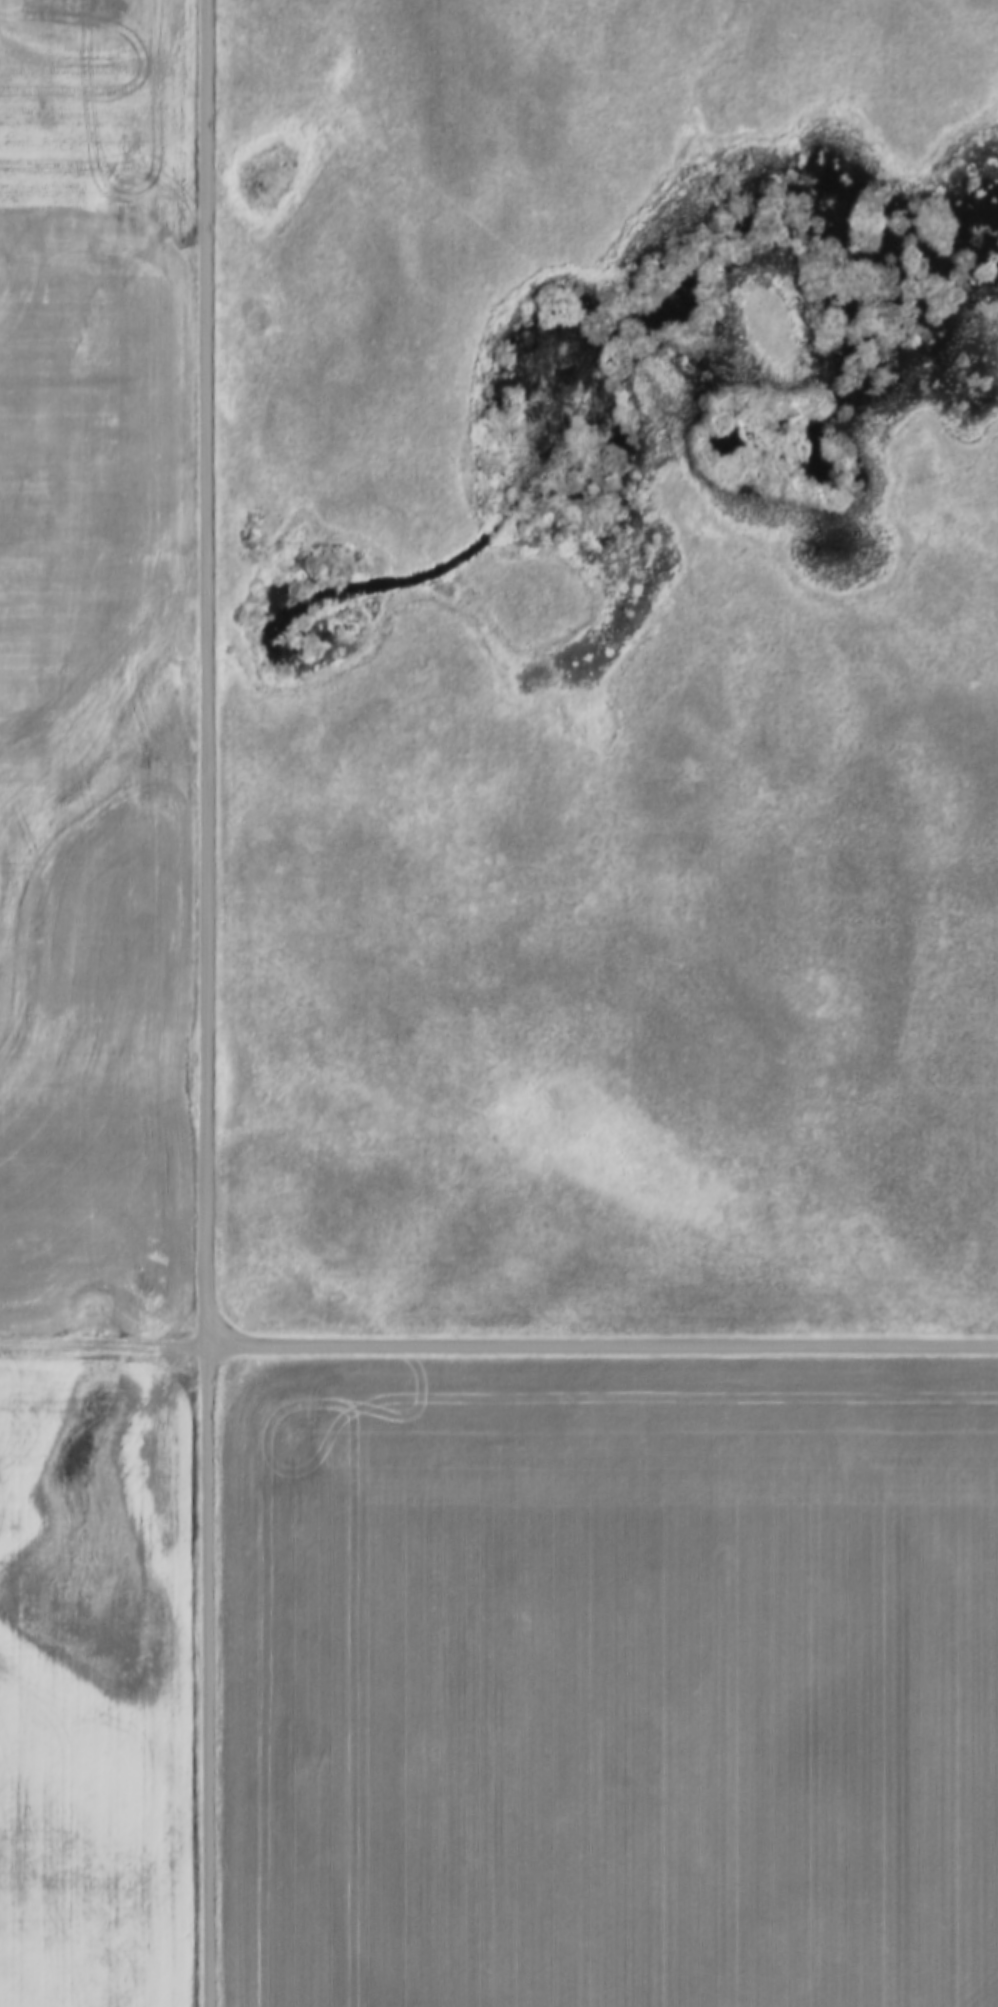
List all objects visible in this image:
road: (204, 673)
road: (103, 1347)
road: (602, 1347)
road: (206, 1677)

